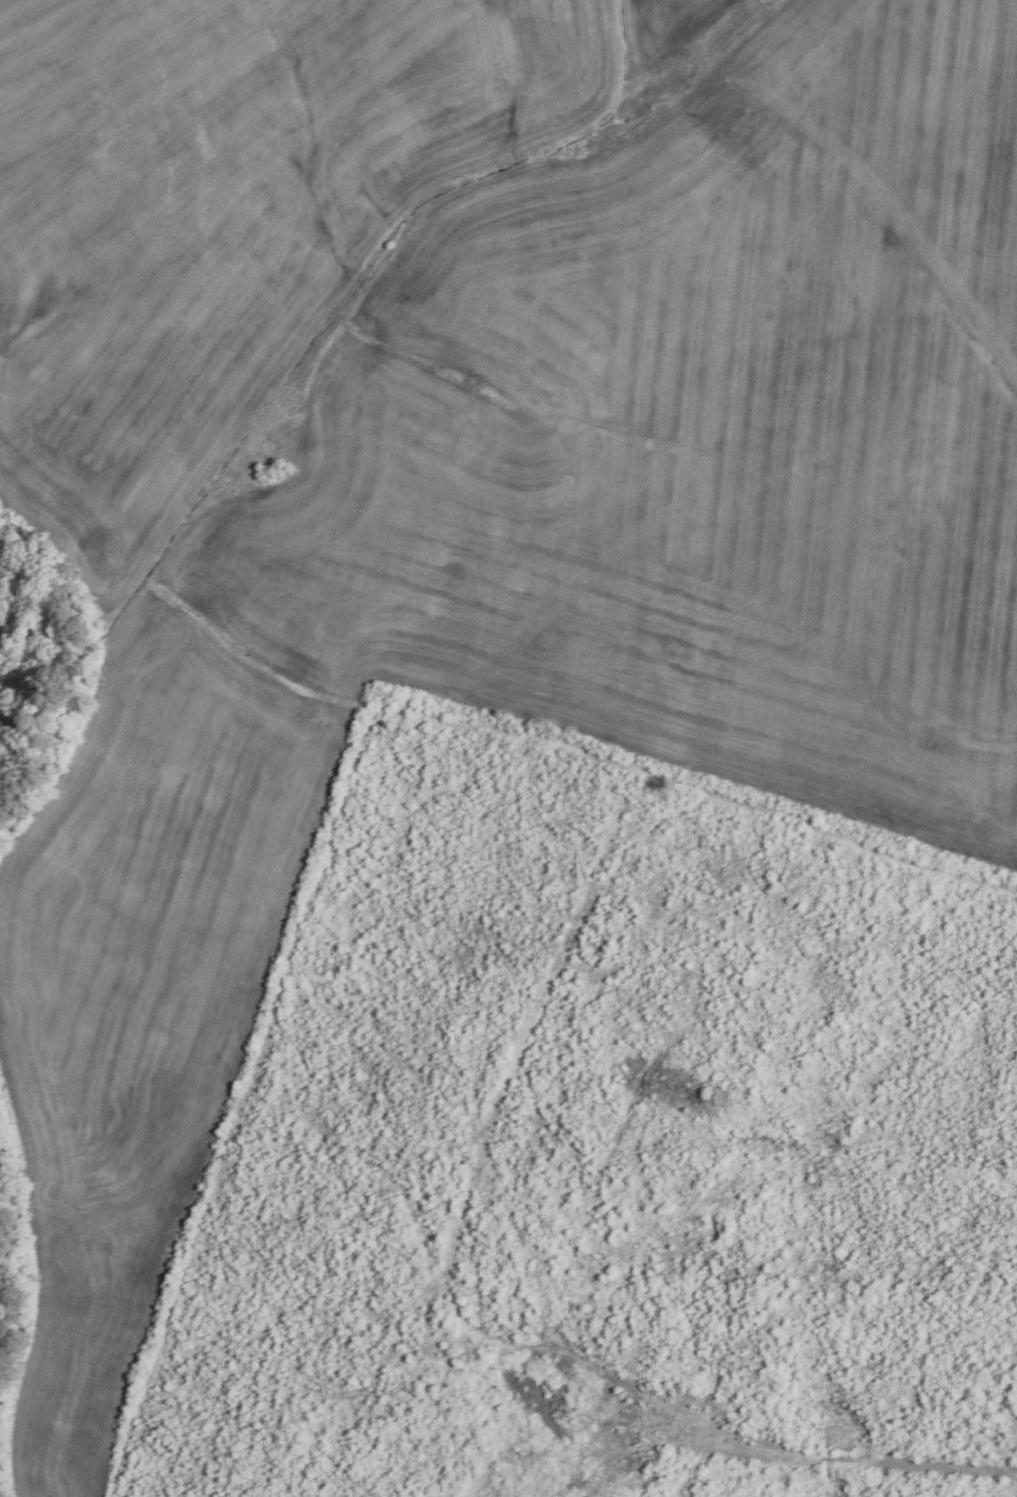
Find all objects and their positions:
crop: (467, 485)

